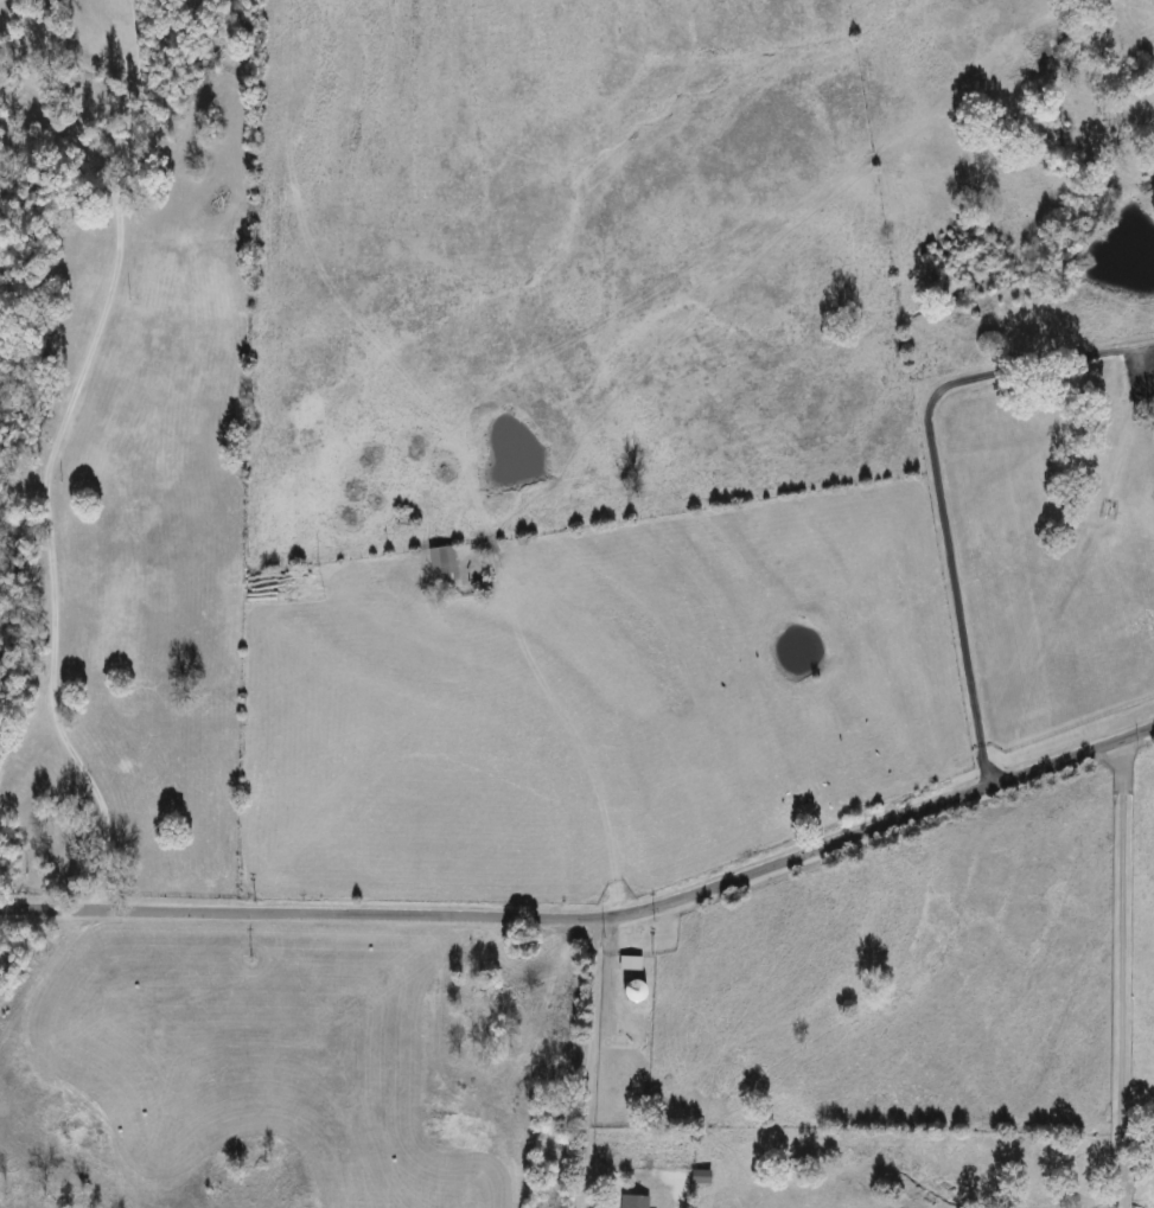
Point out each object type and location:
road: (47, 453)
road: (933, 478)
building: (446, 564)
road: (579, 747)
road: (592, 914)
road: (1121, 961)
building: (633, 963)
building: (645, 991)
building: (538, 1006)
road: (588, 1061)
road: (1121, 1196)
building: (637, 1201)

